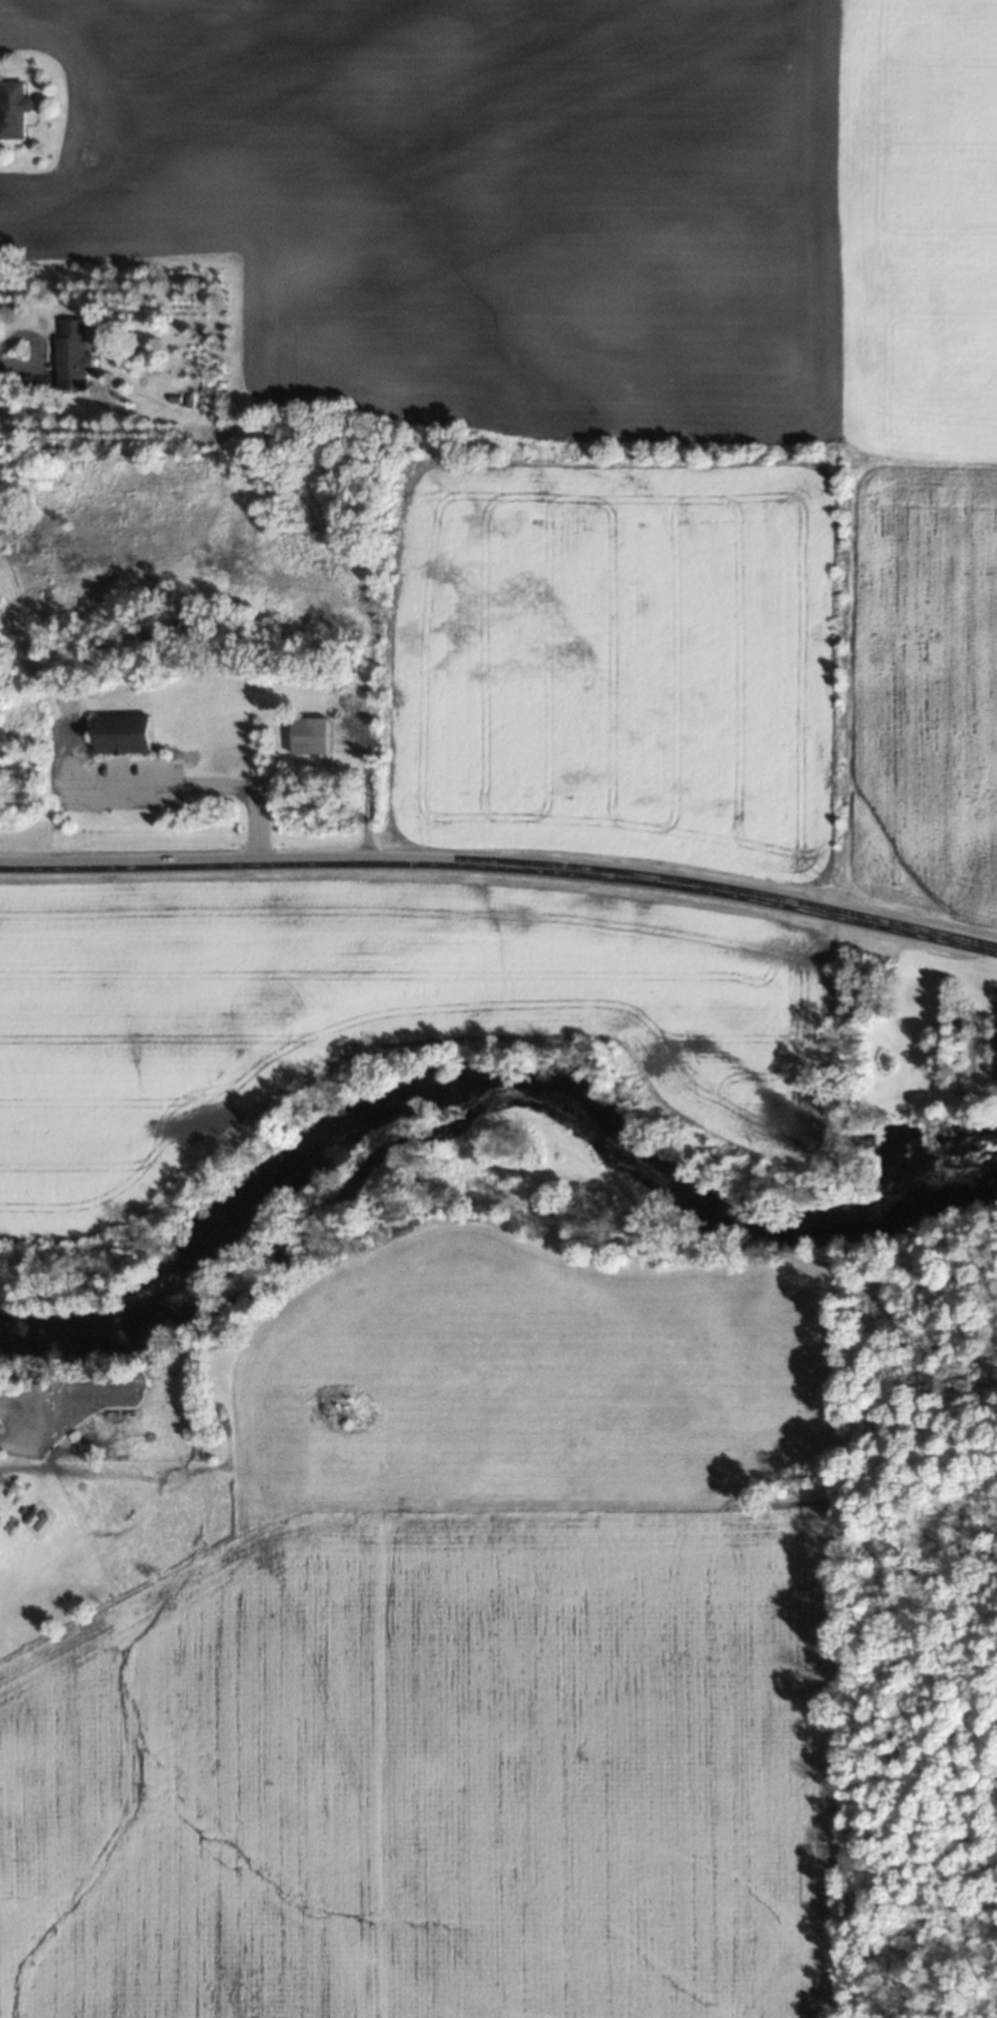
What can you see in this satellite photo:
building: (14, 109)
building: (71, 354)
building: (118, 734)
building: (306, 734)
road: (77, 782)
road: (502, 864)
river: (490, 1081)
building: (91, 1425)

